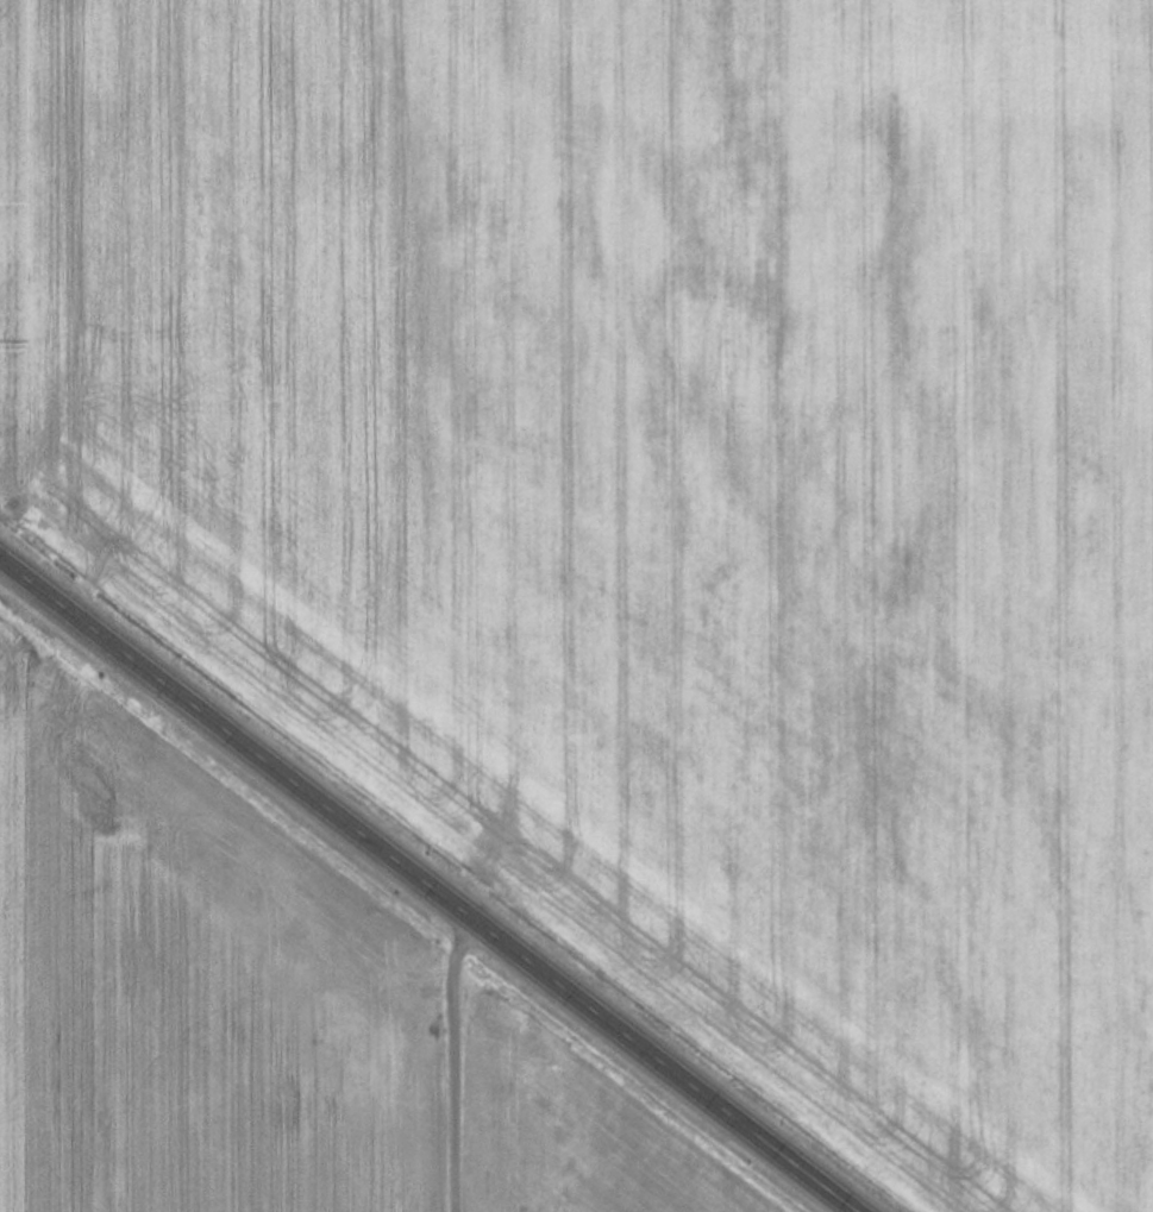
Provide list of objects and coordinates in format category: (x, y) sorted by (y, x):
road: (430, 885)
road: (452, 1062)

